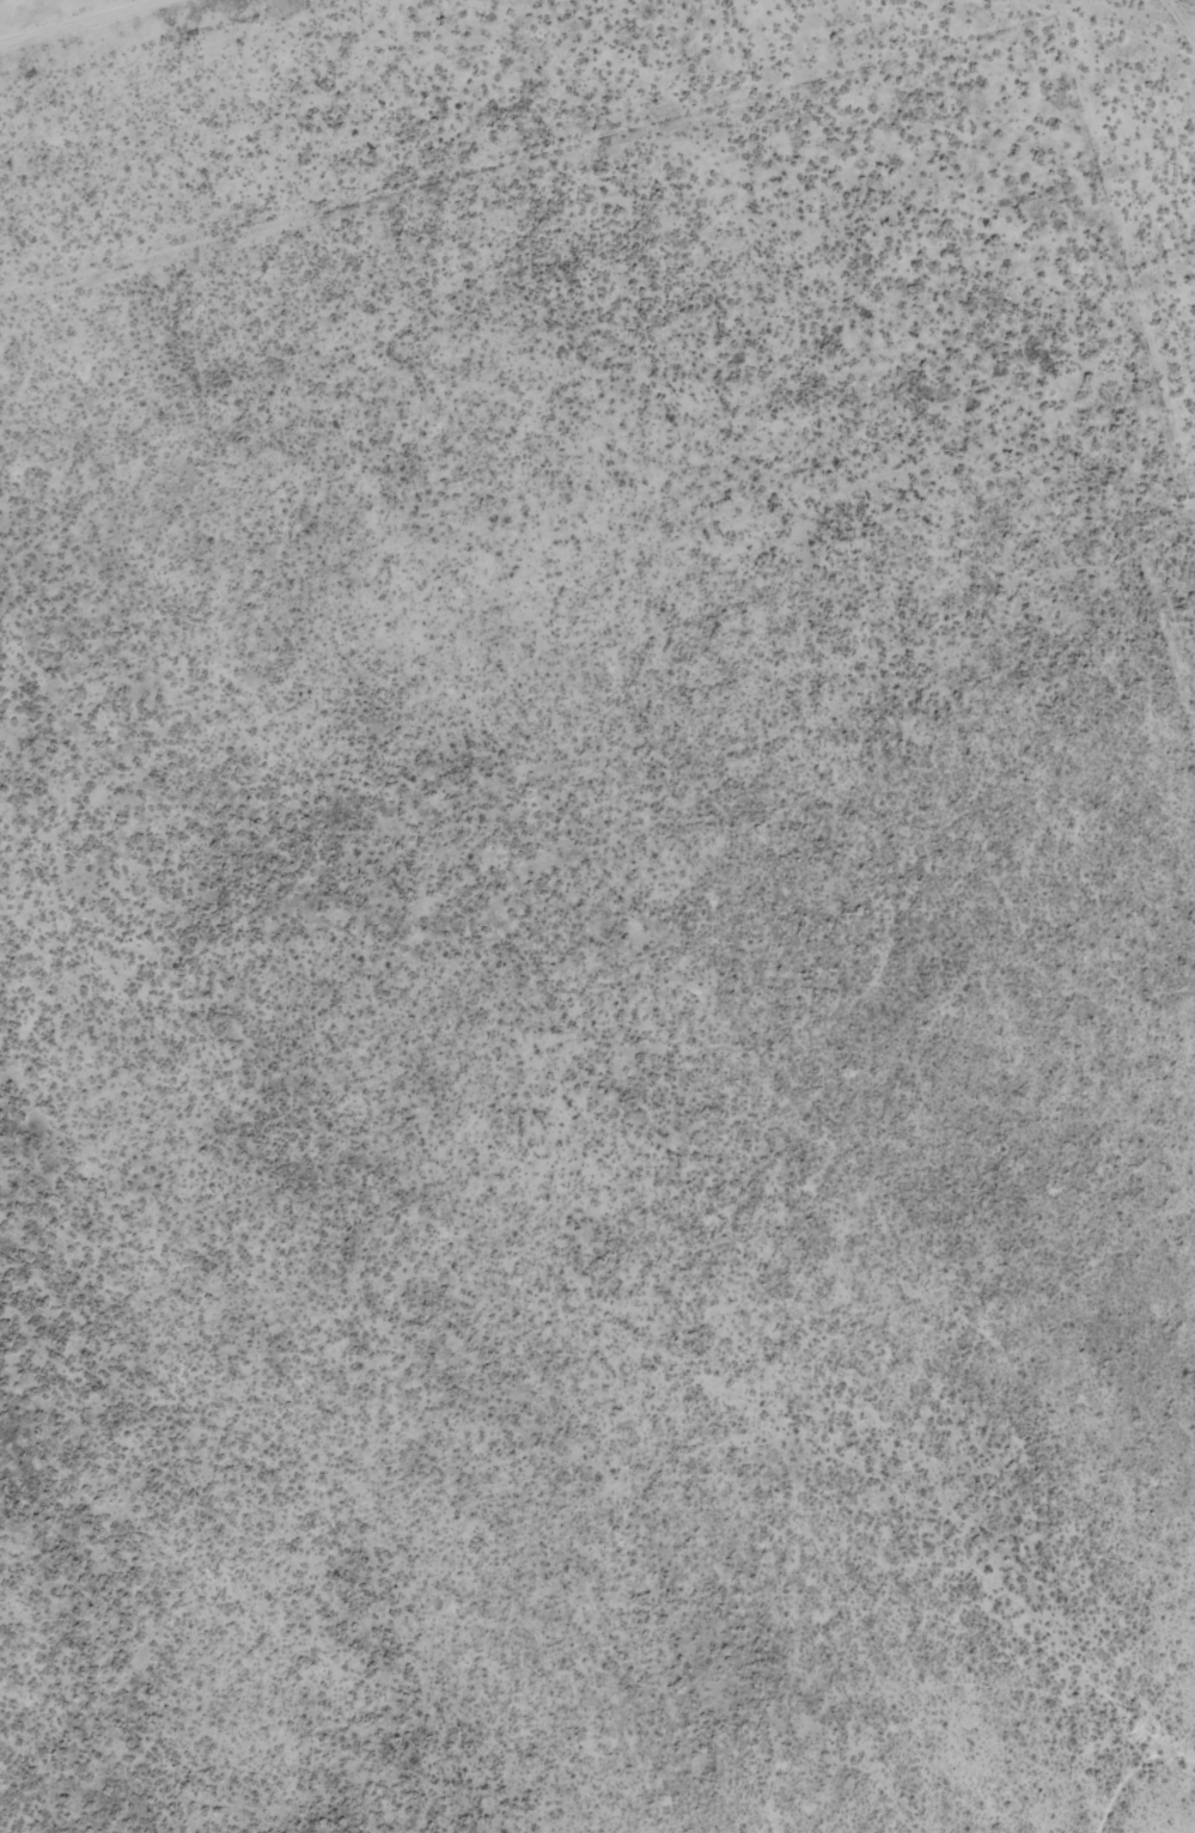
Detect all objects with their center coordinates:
road: (1182, 12)
road: (870, 1125)

